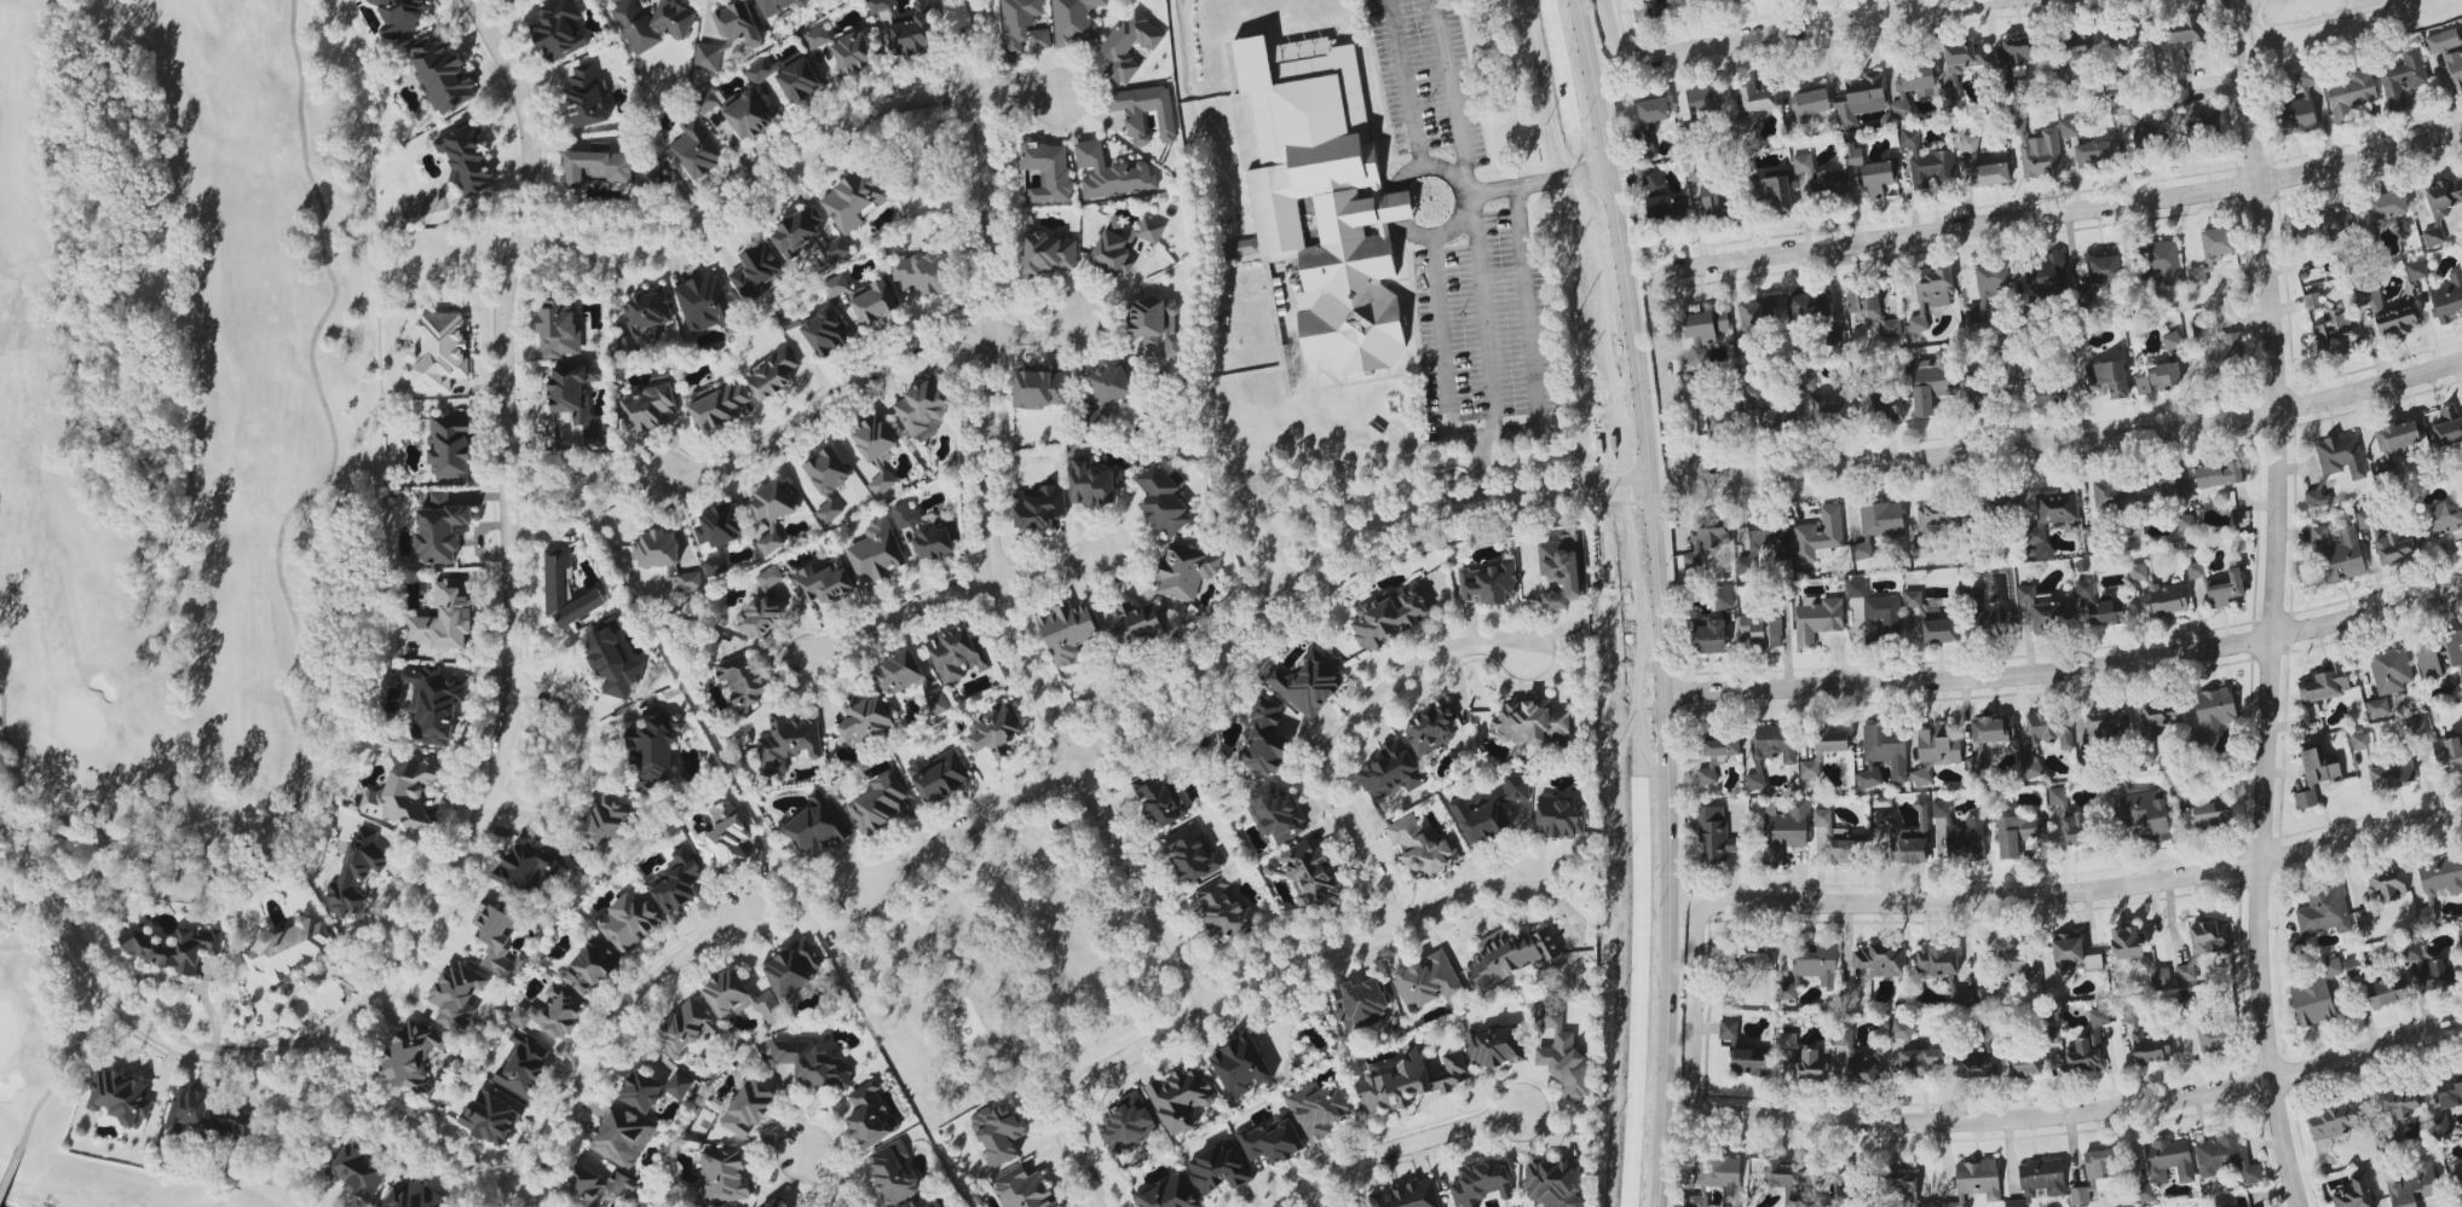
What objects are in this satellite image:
building: (518, 0)
building: (1689, 0)
road: (1608, 4)
building: (777, 7)
building: (882, 8)
building: (1651, 10)
building: (400, 16)
road: (2320, 18)
building: (1076, 21)
building: (1019, 22)
building: (652, 23)
building: (738, 24)
building: (559, 29)
building: (913, 31)
road: (1765, 33)
building: (2128, 36)
building: (2186, 36)
building: (818, 37)
building: (1040, 39)
building: (2077, 45)
building: (1129, 46)
building: (2020, 50)
building: (854, 53)
building: (2447, 53)
building: (707, 57)
building: (1965, 57)
building: (765, 70)
building: (442, 73)
building: (2403, 79)
building: (800, 80)
road: (1401, 85)
building: (1913, 87)
road: (1454, 89)
building: (2351, 94)
building: (2180, 97)
building: (587, 98)
building: (1861, 99)
building: (1702, 100)
building: (1814, 102)
building: (1755, 106)
building: (2300, 106)
building: (2122, 108)
building: (738, 111)
building: (1651, 111)
building: (1144, 112)
building: (2202, 128)
building: (2069, 129)
building: (2149, 137)
building: (1910, 140)
building: (1968, 148)
building: (697, 149)
building: (1647, 149)
building: (2040, 152)
building: (2093, 154)
building: (466, 157)
road: (786, 163)
building: (1803, 163)
building: (598, 167)
building: (1048, 171)
building: (1933, 171)
building: (1111, 174)
building: (1989, 174)
building: (1879, 178)
building: (1653, 180)
road: (1538, 184)
building: (1826, 186)
road: (1396, 187)
building: (1775, 194)
building: (1318, 197)
building: (1713, 201)
building: (853, 202)
building: (2387, 206)
building: (2440, 207)
building: (1666, 208)
building: (2319, 227)
road: (1902, 233)
building: (807, 237)
building: (2216, 244)
building: (1123, 246)
building: (1048, 254)
building: (2163, 261)
building: (2105, 270)
building: (757, 271)
building: (2416, 271)
building: (2047, 272)
building: (924, 273)
building: (2197, 277)
building: (835, 285)
building: (1988, 288)
building: (1930, 295)
building: (2447, 299)
building: (2312, 301)
building: (873, 302)
building: (1864, 302)
building: (704, 304)
building: (1809, 307)
building: (2388, 313)
building: (644, 317)
building: (790, 319)
road: (1484, 319)
building: (1757, 319)
building: (1891, 328)
building: (559, 330)
building: (1702, 333)
building: (826, 334)
building: (2335, 335)
building: (1837, 337)
building: (2172, 341)
building: (438, 353)
building: (2224, 353)
building: (2025, 369)
building: (772, 374)
road: (864, 375)
building: (2109, 377)
building: (2158, 379)
building: (1931, 381)
building: (1039, 389)
building: (1753, 391)
building: (1977, 391)
building: (2048, 394)
building: (578, 400)
building: (719, 404)
building: (1823, 404)
building: (652, 406)
building: (922, 406)
building: (1885, 409)
building: (1722, 425)
building: (2447, 428)
road: (1517, 431)
road: (2139, 433)
building: (2397, 435)
building: (449, 446)
building: (876, 450)
building: (2341, 456)
road: (1481, 467)
park: (166, 473)
building: (2218, 474)
building: (828, 480)
building: (1092, 483)
building: (2138, 490)
building: (1163, 498)
building: (2318, 498)
building: (2001, 506)
building: (1039, 508)
building: (773, 512)
building: (1939, 516)
building: (2446, 516)
building: (2051, 518)
building: (2185, 522)
building: (1878, 525)
building: (720, 527)
building: (440, 529)
road: (994, 531)
building: (924, 533)
building: (1820, 533)
building: (1706, 538)
building: (1764, 543)
road: (509, 548)
building: (1922, 548)
building: (2395, 548)
building: (657, 549)
building: (876, 553)
building: (2339, 554)
building: (715, 566)
building: (1561, 568)
building: (2195, 570)
building: (1184, 572)
building: (2138, 572)
building: (769, 578)
building: (690, 581)
building: (824, 583)
building: (1489, 584)
building: (2227, 589)
building: (566, 590)
road: (953, 594)
building: (2026, 595)
building: (1913, 599)
building: (2167, 599)
road: (1661, 600)
building: (1723, 600)
road: (2273, 602)
building: (2099, 605)
building: (1988, 610)
building: (1878, 613)
building: (1390, 616)
building: (2047, 616)
building: (446, 618)
building: (760, 618)
building: (1817, 619)
building: (1135, 622)
building: (1753, 630)
building: (1775, 630)
building: (1939, 630)
building: (1067, 631)
building: (1709, 637)
road: (1242, 641)
building: (956, 654)
building: (2439, 654)
building: (613, 662)
road: (2068, 669)
building: (2391, 670)
building: (899, 671)
building: (2461, 680)
building: (742, 681)
building: (1308, 683)
building: (2325, 683)
building: (936, 700)
building: (434, 703)
building: (2377, 708)
building: (2214, 710)
building: (863, 720)
building: (1532, 723)
building: (2106, 726)
building: (2156, 726)
building: (2418, 726)
building: (1430, 728)
building: (1993, 730)
building: (993, 733)
building: (1264, 738)
building: (2046, 738)
road: (1344, 739)
building: (1830, 740)
building: (2360, 741)
building: (788, 743)
building: (1774, 743)
building: (1936, 750)
building: (653, 751)
building: (1884, 753)
building: (2447, 755)
building: (1717, 757)
road: (584, 758)
building: (1810, 768)
building: (1390, 770)
building: (2391, 773)
building: (939, 775)
building: (2316, 775)
building: (1755, 781)
building: (1516, 787)
building: (402, 792)
building: (2057, 797)
building: (1159, 799)
building: (881, 804)
building: (1275, 812)
building: (2146, 814)
building: (2212, 815)
building: (1559, 818)
building: (1481, 819)
building: (606, 822)
building: (818, 828)
building: (1784, 830)
building: (2075, 830)
building: (2018, 833)
building: (1961, 834)
building: (1714, 836)
building: (722, 838)
building: (1838, 839)
building: (1902, 841)
building: (1422, 847)
building: (1192, 853)
building: (529, 867)
building: (356, 872)
building: (1308, 873)
building: (676, 882)
building: (2439, 883)
building: (2386, 887)
road: (1966, 900)
road: (803, 901)
building: (1223, 909)
building: (2324, 912)
road: (1011, 917)
building: (2364, 918)
building: (629, 923)
building: (498, 939)
building: (2204, 947)
building: (175, 948)
building: (289, 949)
building: (2074, 954)
building: (1510, 955)
building: (1748, 960)
building: (1878, 960)
building: (1937, 960)
park: (1005, 961)
building: (2014, 961)
building: (590, 968)
road: (979, 968)
building: (1811, 968)
building: (2354, 968)
building: (2429, 968)
building: (792, 969)
building: (1428, 981)
road: (1268, 986)
building: (2387, 992)
building: (456, 994)
building: (2316, 994)
road: (117, 995)
building: (1962, 997)
building: (740, 998)
building: (1360, 1004)
building: (2190, 1004)
building: (553, 1013)
building: (685, 1028)
building: (1729, 1030)
building: (1902, 1030)
building: (1988, 1030)
road: (611, 1035)
building: (2214, 1036)
building: (2145, 1038)
building: (2089, 1045)
building: (1494, 1046)
building: (1562, 1053)
building: (411, 1056)
building: (1800, 1059)
building: (1860, 1061)
building: (1749, 1062)
building: (1918, 1062)
building: (812, 1064)
building: (2025, 1064)
building: (1240, 1065)
building: (1973, 1065)
building: (524, 1067)
building: (1408, 1081)
building: (652, 1090)
building: (2450, 1091)
building: (120, 1097)
building: (1181, 1099)
building: (2400, 1102)
building: (749, 1108)
building: (189, 1109)
building: (1320, 1109)
road: (2105, 1110)
building: (492, 1115)
building: (871, 1116)
building: (237, 1121)
building: (2335, 1122)
building: (1128, 1124)
road: (421, 1130)
building: (998, 1133)
building: (623, 1137)
building: (1272, 1139)
road: (1395, 1156)
building: (2226, 1156)
building: (2166, 1165)
building: (1218, 1170)
building: (1757, 1170)
building: (1718, 1171)
building: (359, 1172)
building: (893, 1173)
road: (1083, 1173)
building: (2097, 1174)
building: (725, 1177)
building: (2042, 1177)
road: (828, 1178)
building: (1978, 1179)
building: (1784, 1180)
building: (2458, 1180)
building: (1481, 1182)
building: (1552, 1183)
building: (1845, 1185)
building: (2414, 1185)
building: (598, 1188)
building: (1901, 1188)
building: (1024, 1189)
building: (2353, 1192)
building: (1167, 1194)
building: (1407, 1196)
building: (415, 1197)
building: (1697, 1201)
building: (917, 1202)
building: (779, 1203)
building: (2014, 1203)
building: (1949, 1205)
building: (2231, 1205)
building: (1355, 1206)

